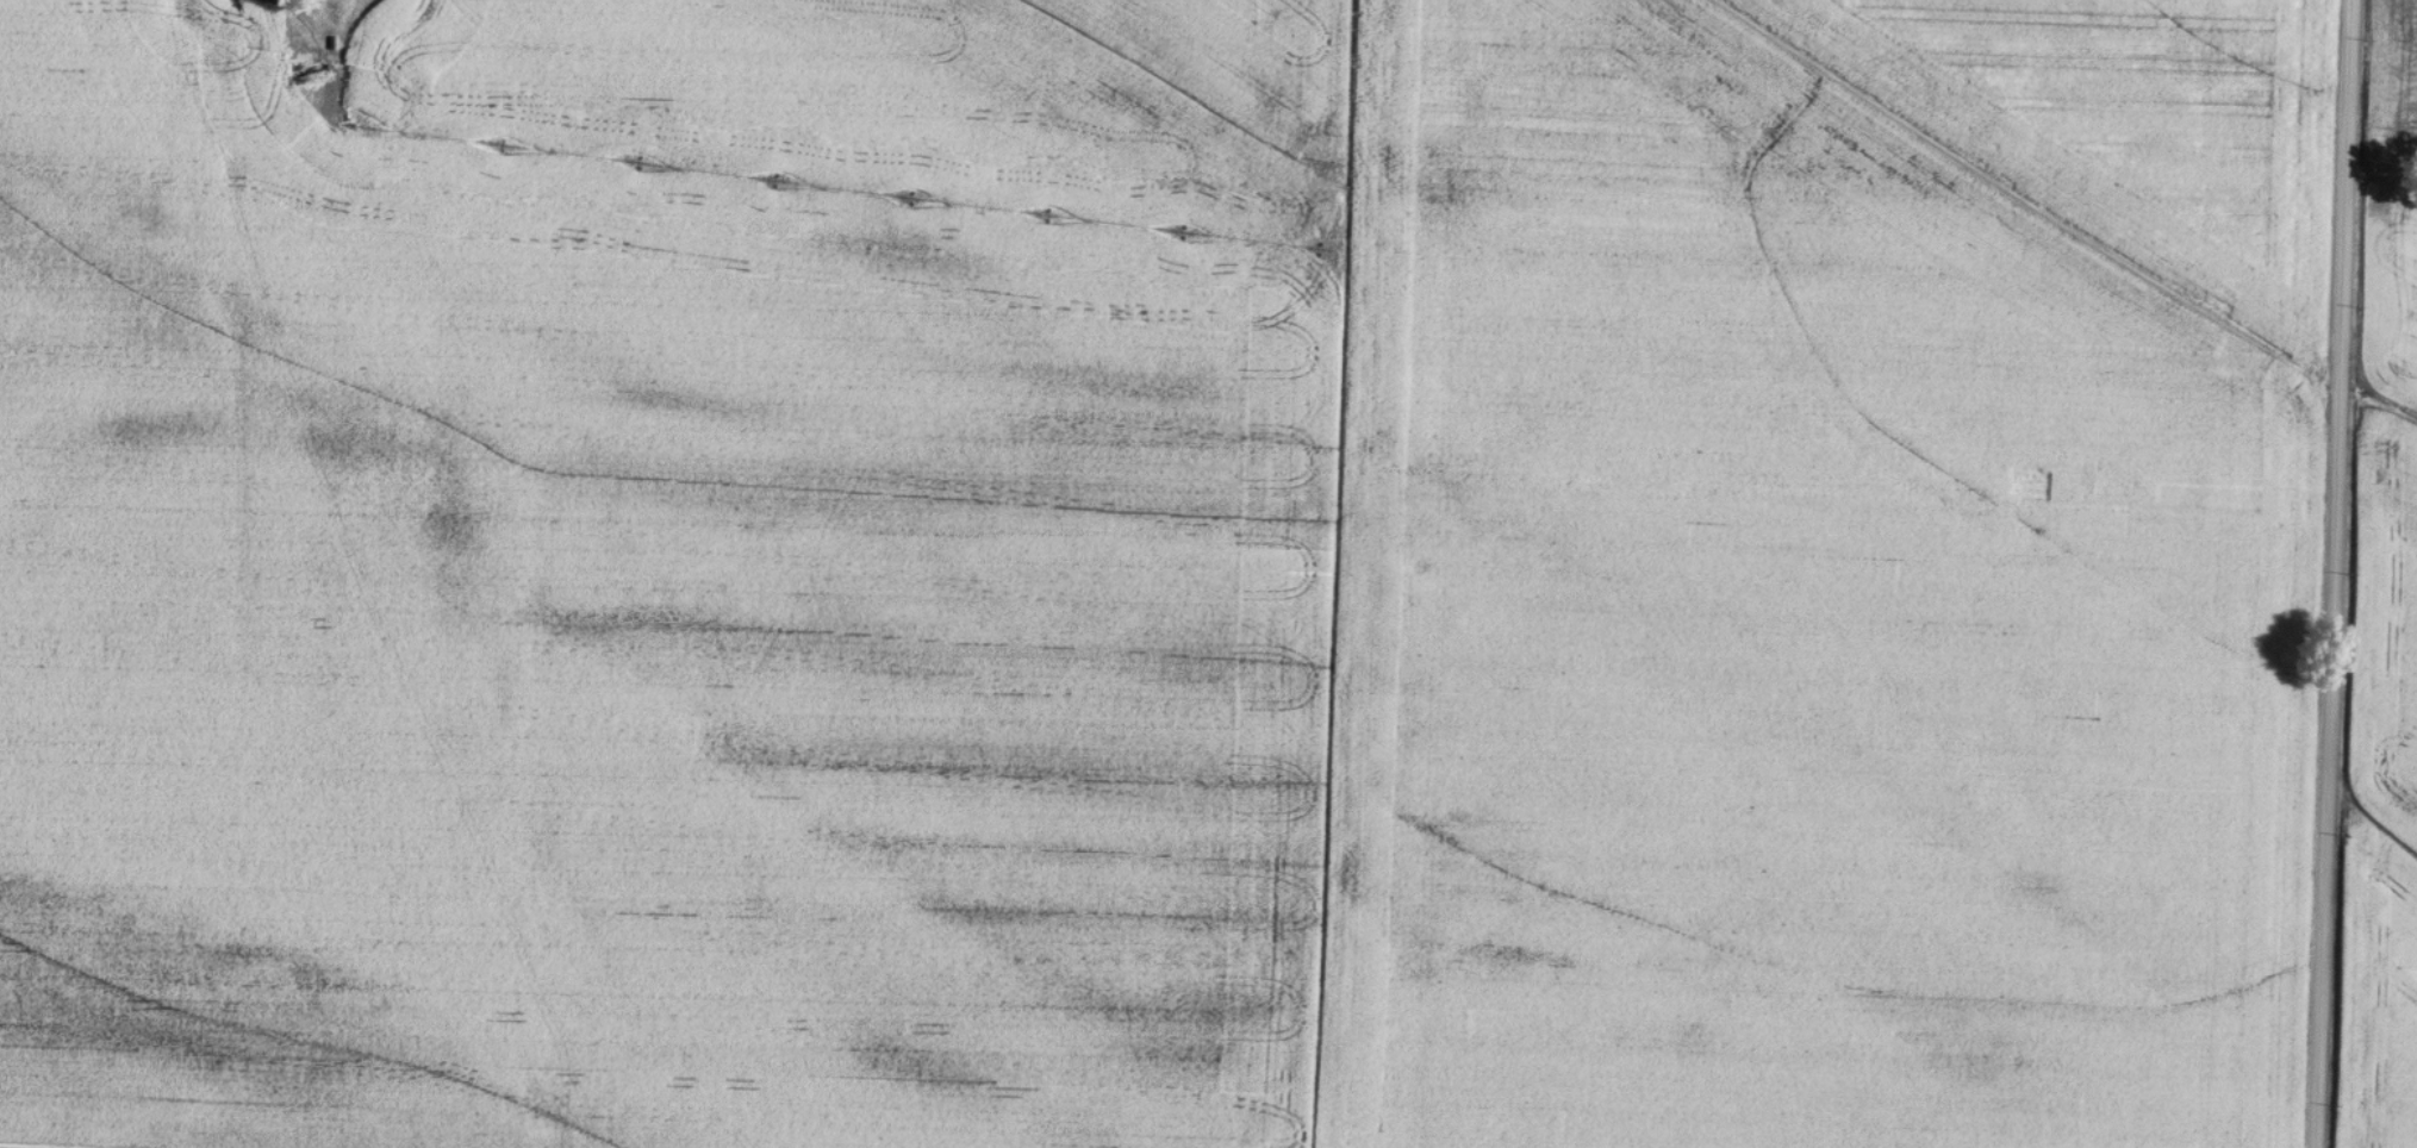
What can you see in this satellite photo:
road: (2335, 574)

